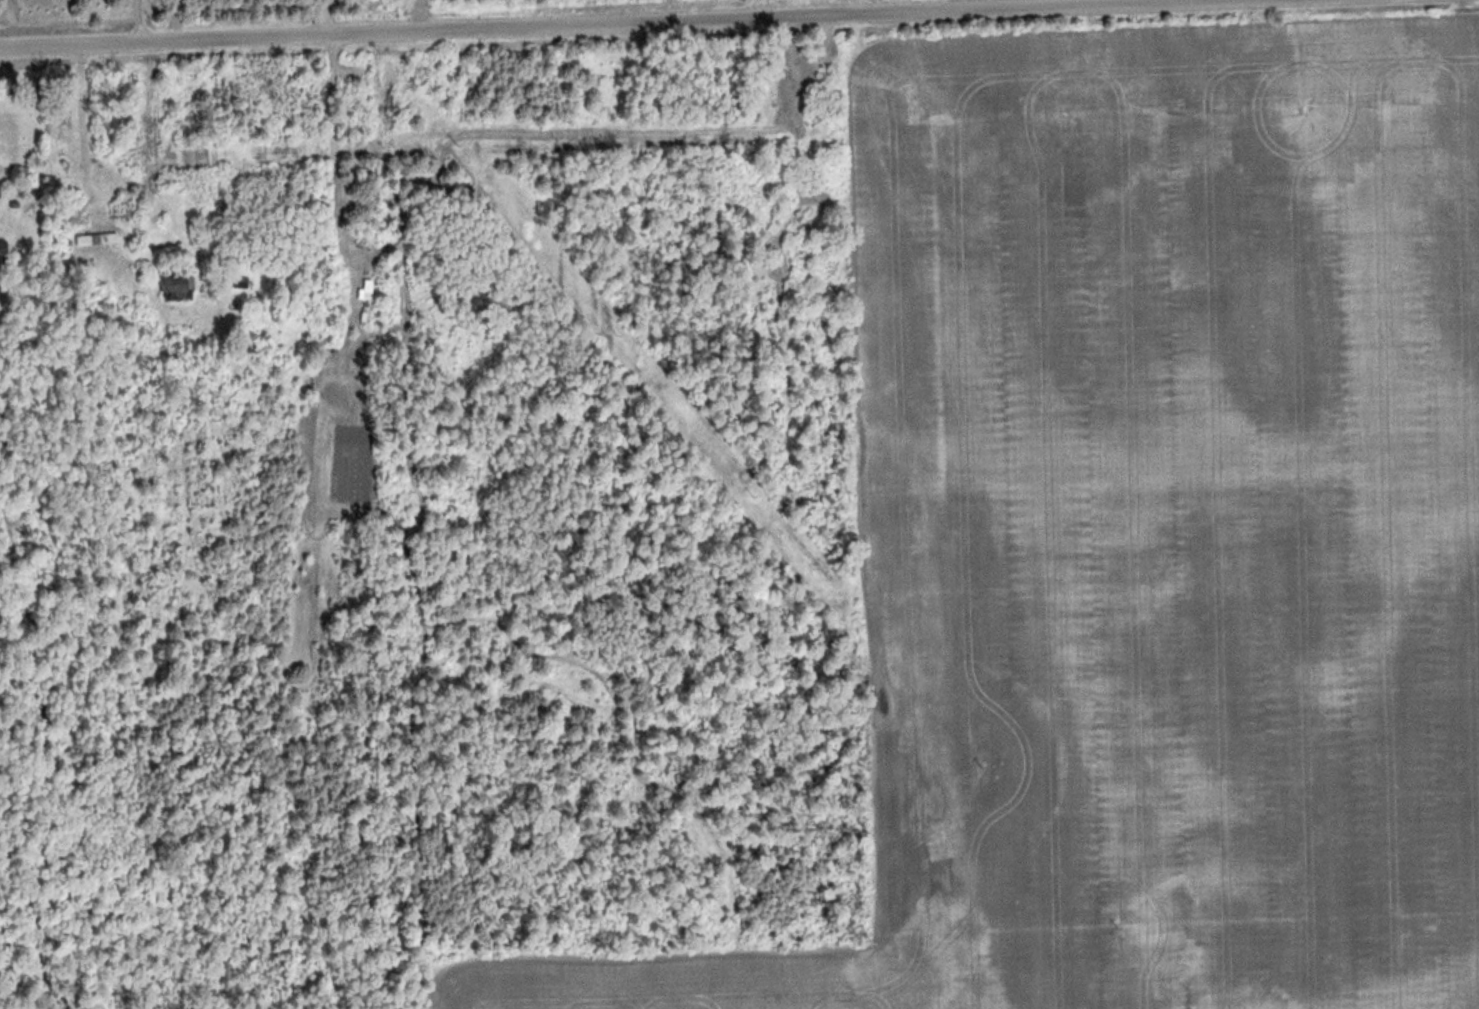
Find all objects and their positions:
road: (555, 21)
building: (2, 188)
building: (101, 239)
building: (181, 288)

